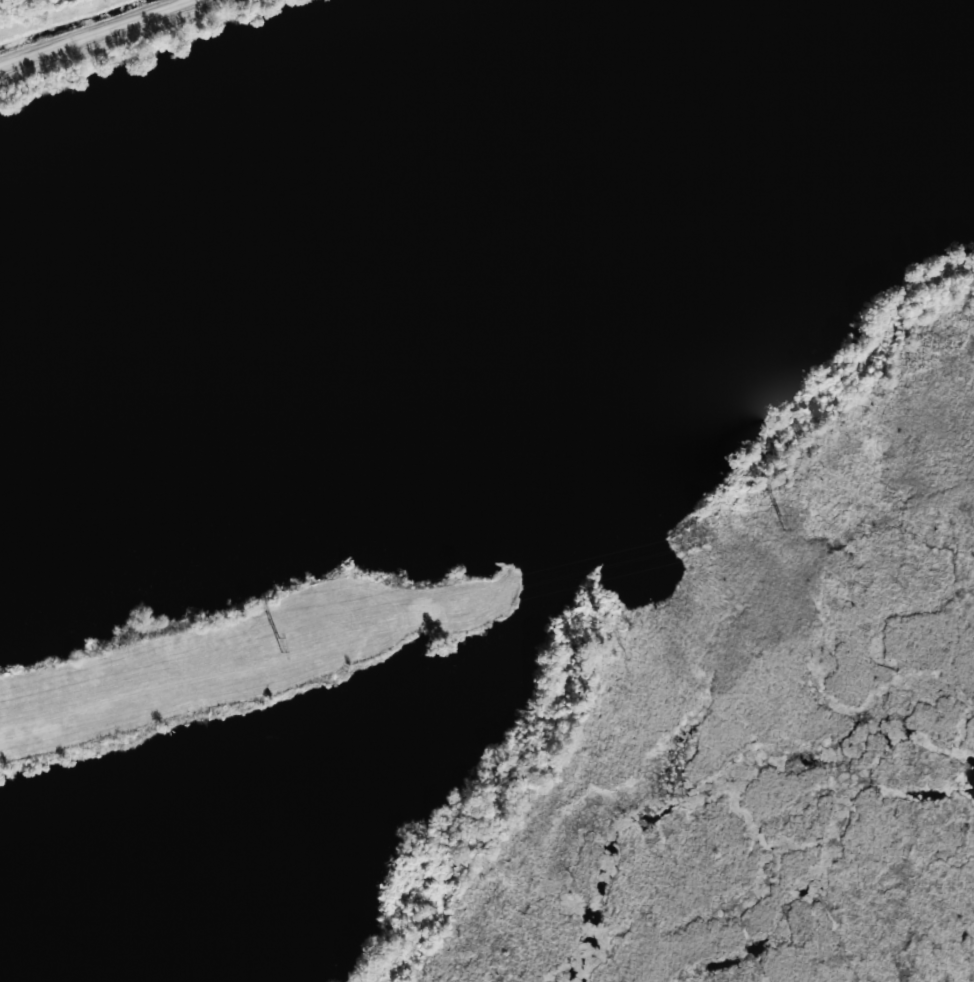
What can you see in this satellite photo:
road: (36, 56)
road: (199, 676)

